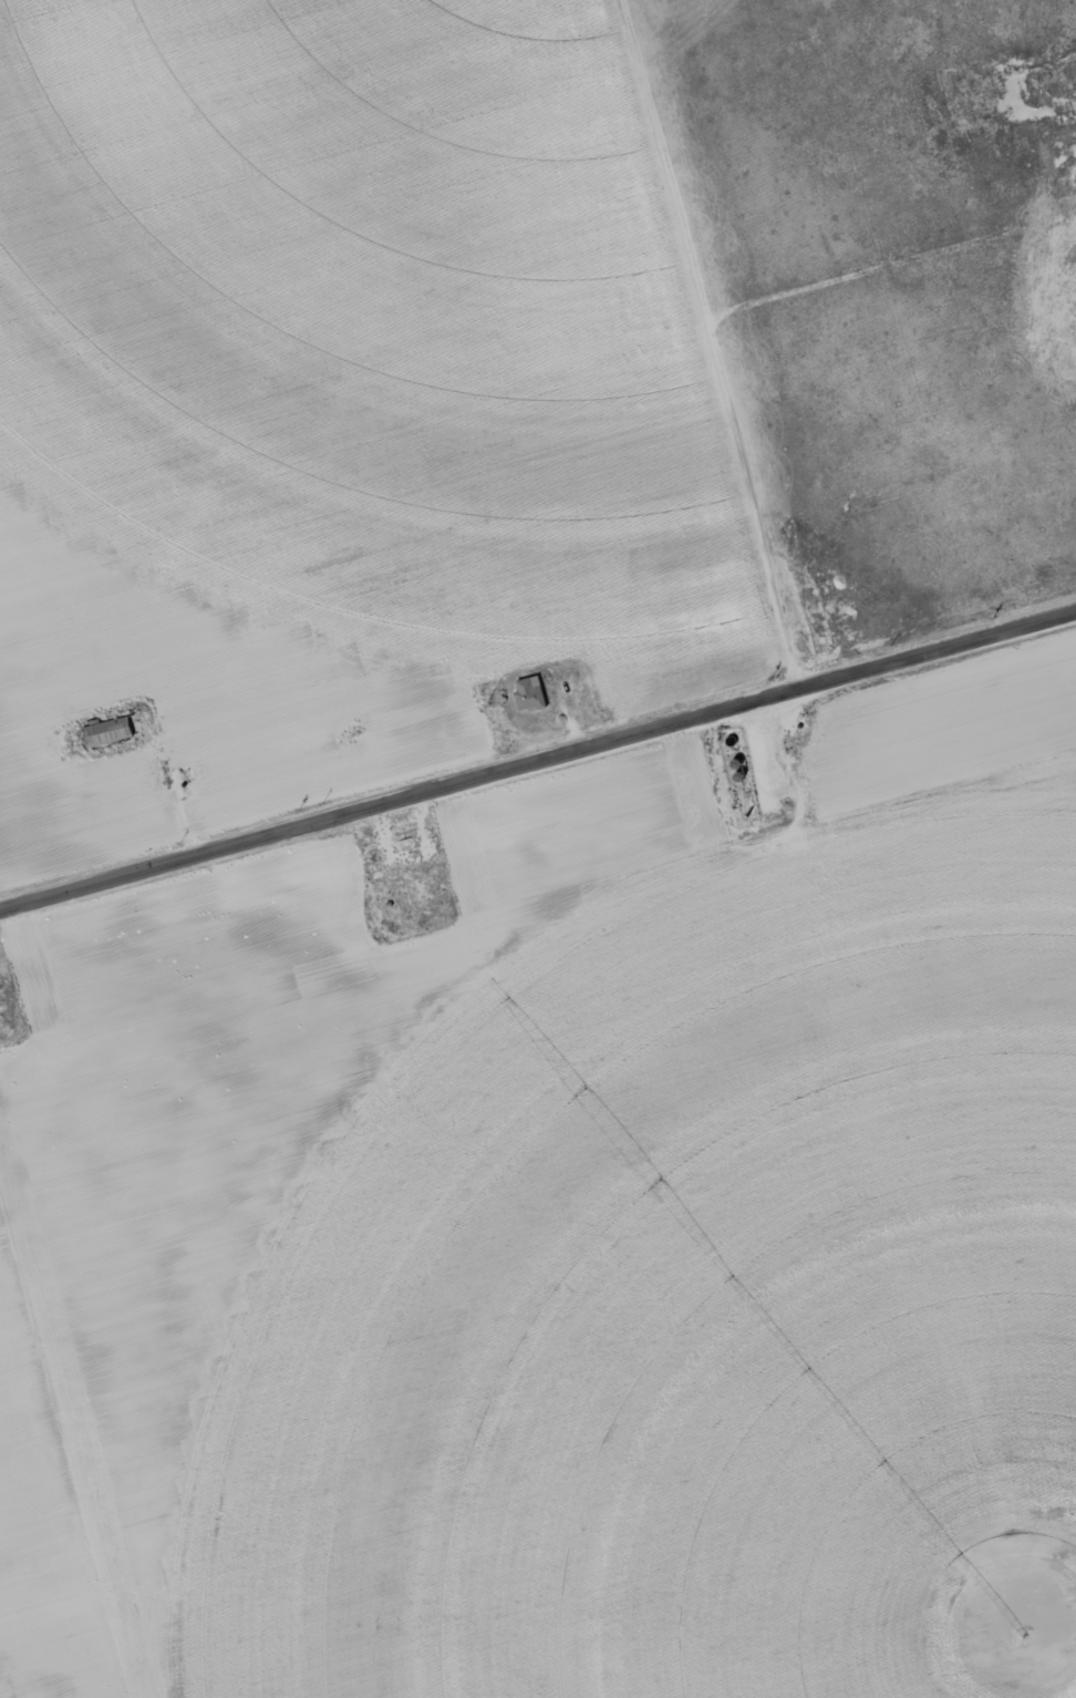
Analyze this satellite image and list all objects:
road: (538, 764)

